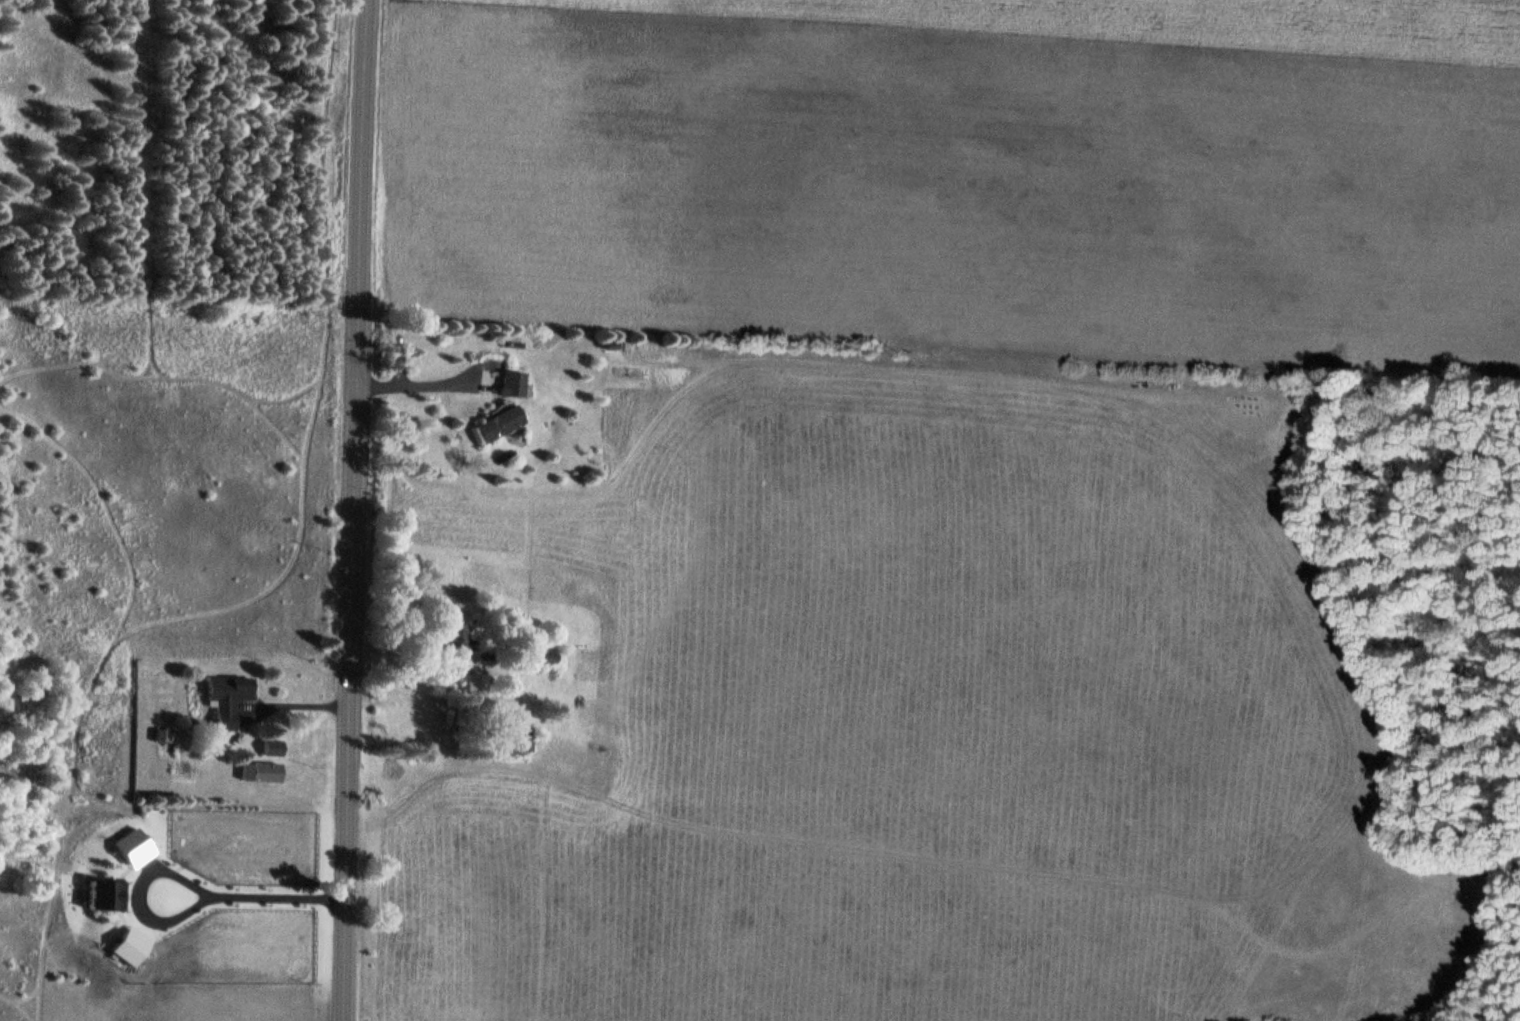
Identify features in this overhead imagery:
building: (511, 381)
building: (495, 422)
road: (357, 510)
building: (452, 636)
building: (474, 682)
building: (228, 698)
building: (162, 734)
building: (522, 737)
building: (270, 745)
building: (264, 770)

